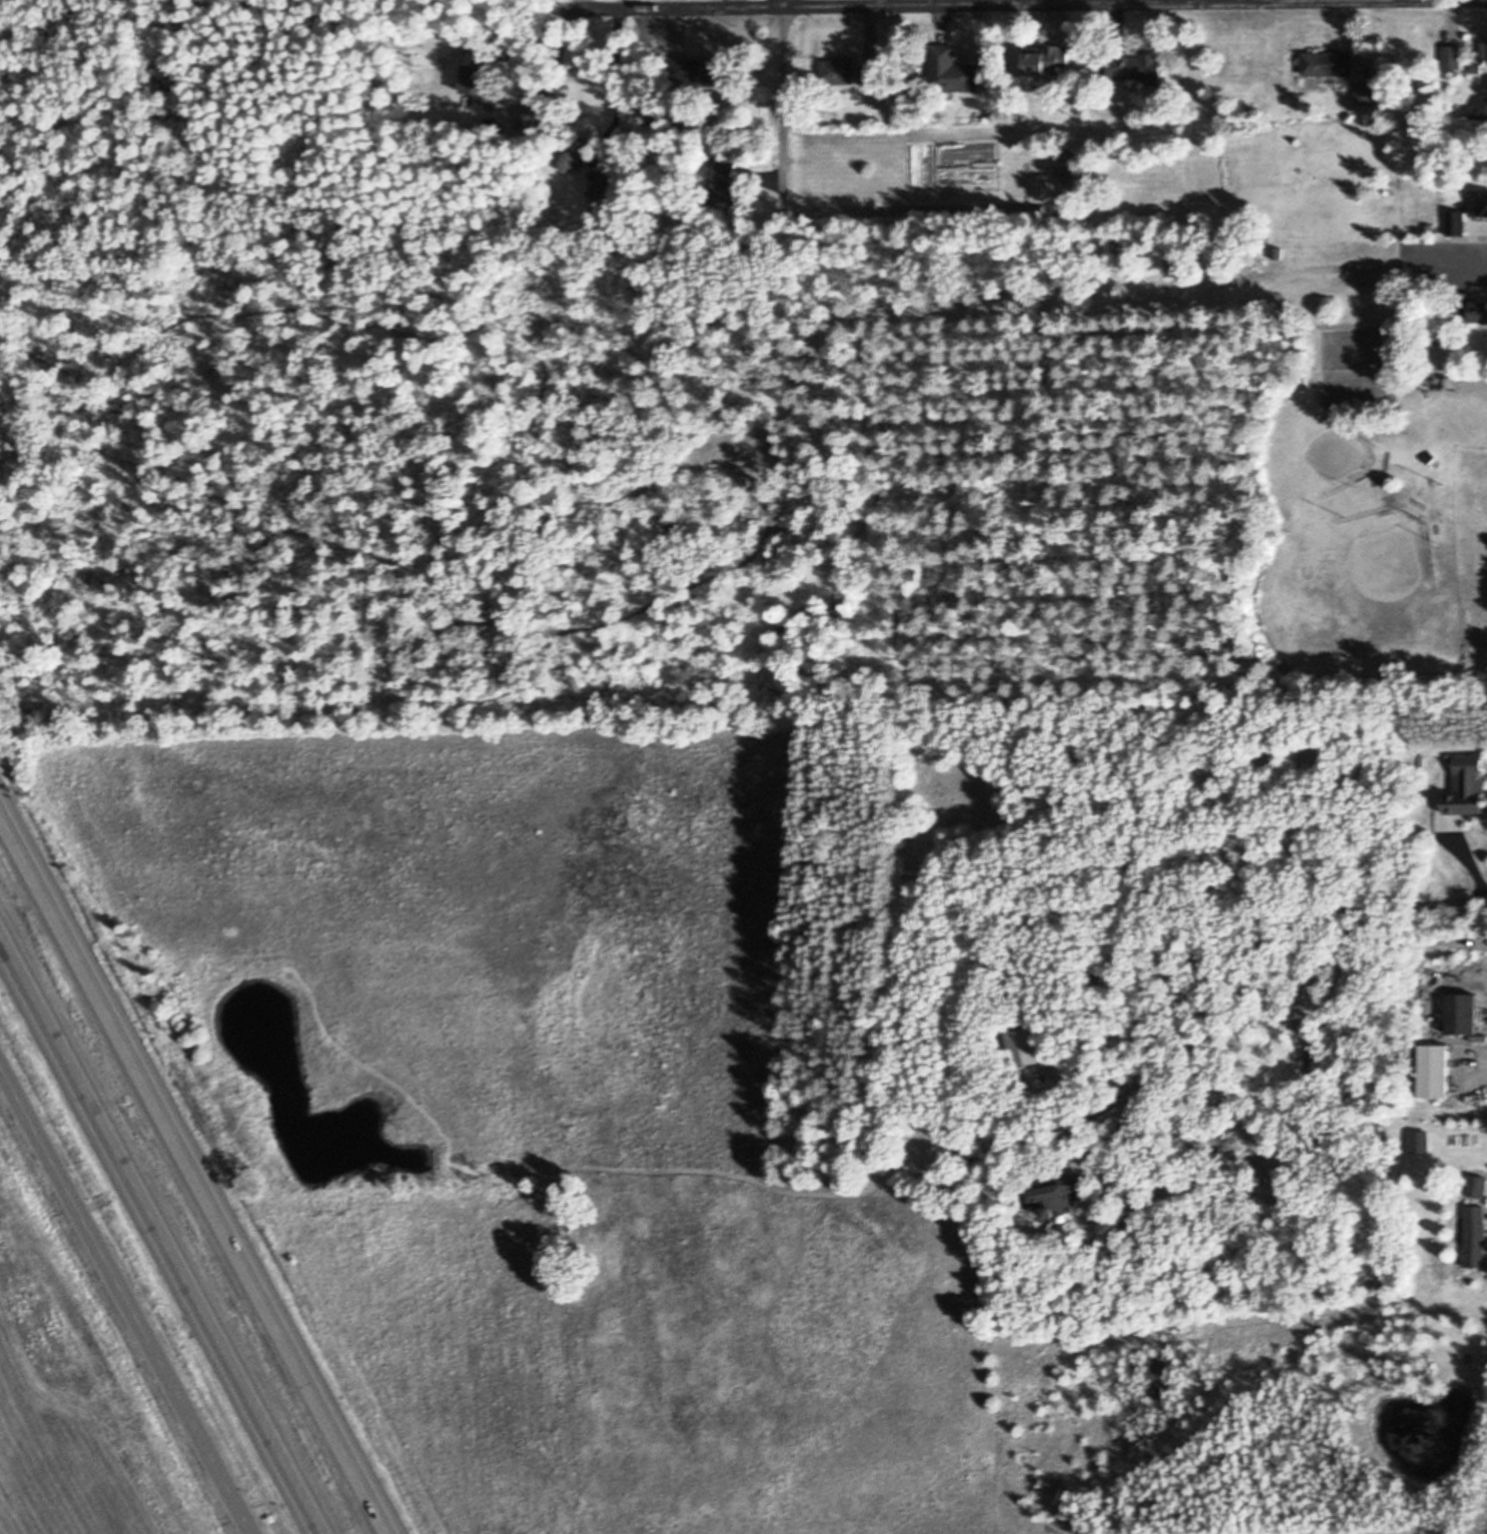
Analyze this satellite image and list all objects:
road: (1255, 1)
road: (778, 4)
road: (1025, 4)
building: (1486, 53)
building: (1453, 56)
building: (1049, 59)
building: (1329, 63)
building: (1136, 66)
building: (1476, 68)
road: (554, 70)
building: (840, 70)
building: (952, 70)
building: (699, 73)
building: (871, 73)
building: (481, 81)
road: (612, 81)
building: (1367, 92)
building: (648, 94)
road: (777, 95)
building: (1480, 109)
building: (1424, 111)
building: (525, 119)
building: (1425, 127)
building: (570, 160)
building: (1065, 162)
building: (728, 165)
building: (605, 189)
building: (723, 193)
road: (918, 202)
building: (1480, 208)
building: (1457, 222)
road: (1468, 245)
building: (1278, 252)
building: (1177, 273)
building: (1470, 306)
building: (1357, 367)
building: (1430, 457)
building: (1387, 459)
building: (1377, 481)
building: (1391, 498)
building: (1419, 503)
building: (1436, 527)
building: (1422, 760)
building: (1469, 785)
road: (1285, 940)
building: (1462, 1014)
building: (1023, 1046)
building: (1434, 1070)
road: (1066, 1146)
road: (194, 1171)
building: (1477, 1185)
building: (1057, 1194)
building: (1060, 1220)
building: (1462, 1232)
road: (161, 1234)
building: (1476, 1237)
road: (125, 1305)
building: (1163, 1378)

